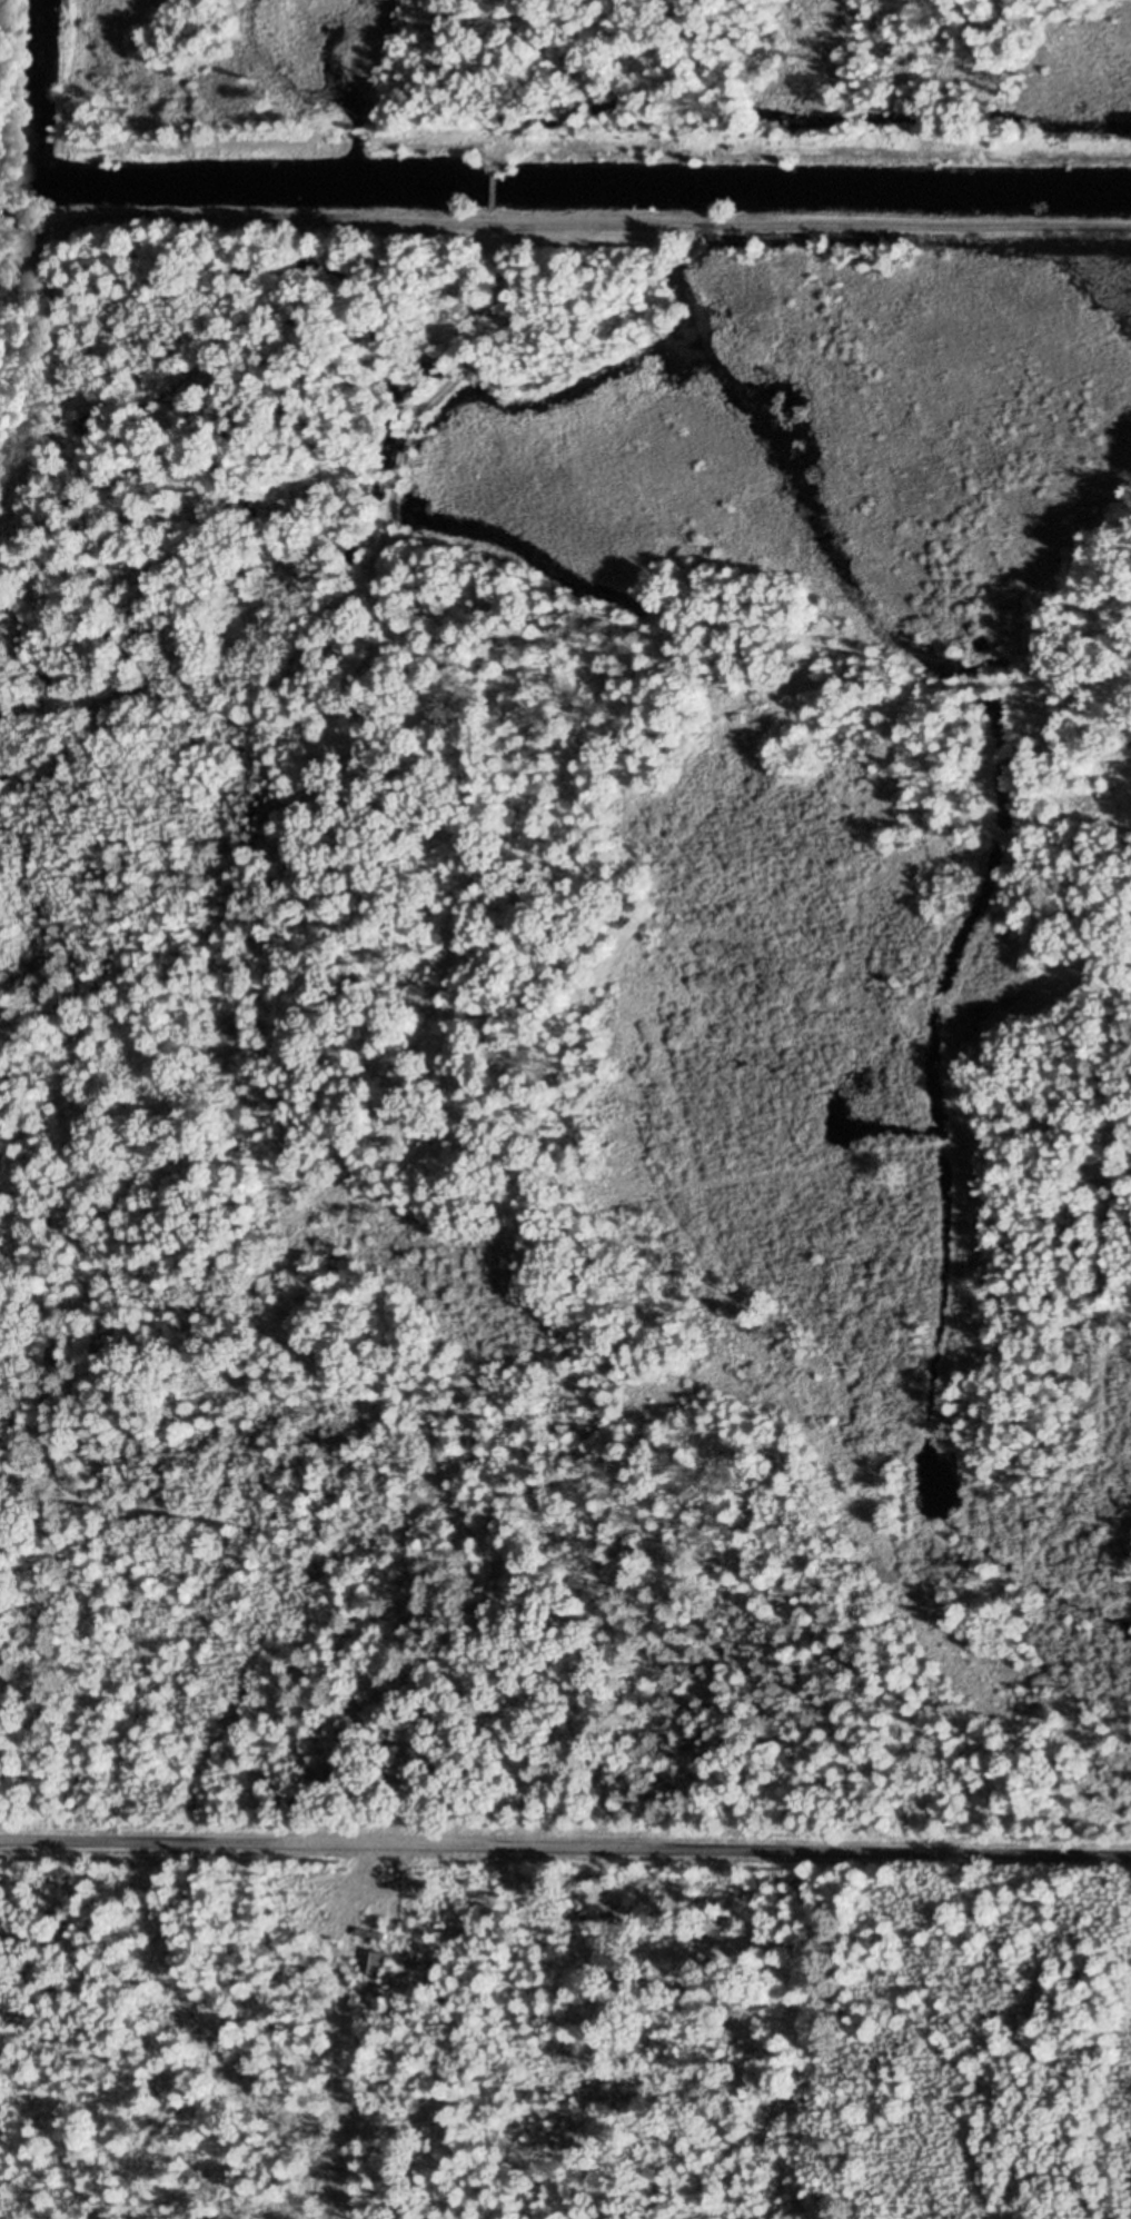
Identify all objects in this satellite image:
road: (565, 1842)

